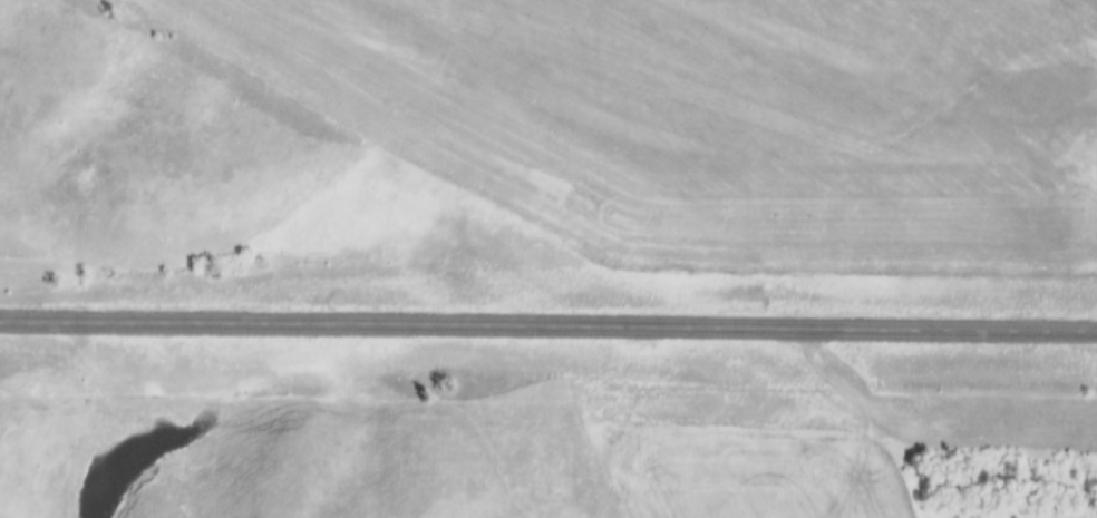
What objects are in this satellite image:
road: (548, 326)

